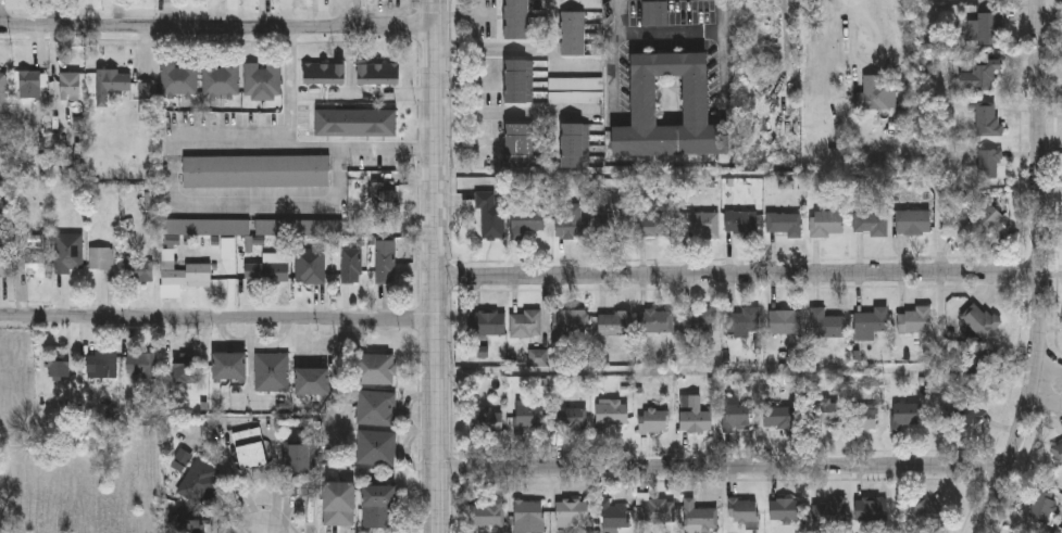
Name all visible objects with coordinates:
building: (165, 7)
building: (655, 15)
road: (721, 15)
road: (614, 16)
building: (518, 21)
road: (217, 26)
building: (986, 30)
road: (667, 33)
road: (862, 33)
building: (575, 36)
road: (516, 51)
road: (351, 60)
road: (723, 71)
road: (615, 73)
building: (325, 75)
building: (379, 76)
building: (982, 76)
building: (179, 78)
building: (221, 80)
building: (262, 80)
building: (521, 84)
building: (112, 85)
building: (30, 86)
building: (71, 86)
building: (575, 91)
building: (875, 96)
building: (697, 101)
building: (3, 106)
road: (516, 114)
building: (988, 122)
building: (357, 125)
road: (302, 144)
road: (464, 147)
building: (521, 148)
building: (577, 148)
building: (990, 165)
building: (257, 173)
road: (198, 202)
building: (385, 204)
building: (491, 217)
building: (985, 220)
building: (526, 223)
building: (741, 225)
building: (871, 225)
building: (914, 225)
building: (573, 226)
building: (785, 226)
building: (827, 226)
building: (702, 227)
building: (655, 228)
building: (615, 229)
building: (5, 255)
building: (70, 255)
building: (102, 263)
road: (436, 266)
building: (36, 267)
building: (310, 268)
building: (351, 268)
building: (385, 268)
road: (1040, 271)
building: (140, 274)
building: (186, 275)
road: (738, 275)
building: (267, 276)
road: (217, 318)
building: (915, 321)
building: (701, 322)
building: (744, 322)
building: (980, 322)
building: (655, 323)
building: (616, 325)
building: (786, 325)
building: (872, 325)
building: (487, 326)
building: (526, 326)
building: (571, 326)
building: (825, 326)
road: (1051, 364)
building: (101, 366)
building: (60, 367)
building: (142, 367)
building: (232, 368)
building: (187, 370)
building: (376, 370)
building: (272, 373)
building: (314, 383)
road: (1046, 404)
building: (377, 410)
building: (967, 413)
building: (825, 414)
building: (611, 416)
building: (695, 417)
building: (737, 417)
building: (905, 417)
building: (779, 418)
building: (862, 420)
building: (530, 422)
building: (574, 422)
building: (487, 423)
building: (654, 423)
building: (250, 449)
building: (377, 449)
building: (1057, 456)
building: (300, 464)
road: (722, 466)
building: (200, 485)
building: (340, 506)
building: (380, 508)
building: (1044, 508)
building: (659, 511)
building: (744, 511)
building: (787, 511)
building: (873, 511)
building: (830, 513)
building: (574, 515)
building: (614, 517)
building: (699, 517)
building: (529, 518)
building: (488, 519)
building: (191, 528)

